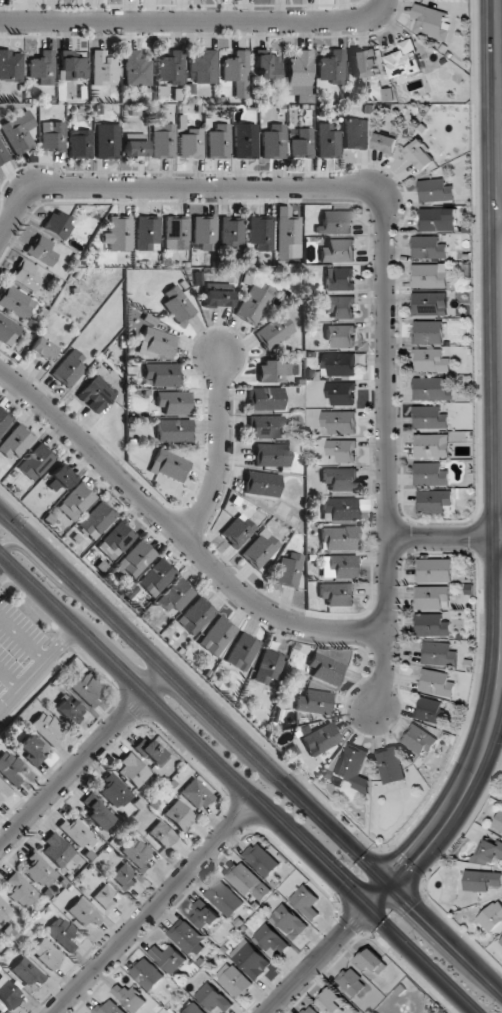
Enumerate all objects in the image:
road: (382, 7)
road: (189, 17)
building: (430, 22)
building: (404, 60)
building: (363, 64)
building: (10, 65)
building: (72, 65)
building: (203, 66)
building: (42, 67)
building: (332, 67)
building: (103, 68)
building: (171, 68)
building: (267, 68)
building: (136, 69)
building: (237, 72)
building: (300, 76)
building: (18, 132)
building: (356, 134)
building: (52, 136)
building: (163, 140)
building: (107, 141)
building: (245, 141)
building: (327, 141)
building: (385, 141)
building: (218, 142)
building: (274, 142)
building: (80, 143)
building: (301, 143)
building: (191, 144)
building: (134, 145)
building: (2, 154)
building: (420, 155)
road: (498, 189)
building: (434, 190)
road: (387, 210)
road: (500, 218)
building: (437, 219)
building: (333, 222)
building: (57, 224)
building: (231, 231)
building: (204, 232)
building: (260, 232)
building: (118, 233)
building: (147, 233)
building: (175, 234)
building: (288, 234)
building: (427, 247)
building: (41, 250)
building: (337, 251)
building: (25, 274)
building: (429, 275)
building: (339, 279)
building: (217, 294)
building: (16, 302)
building: (429, 303)
building: (177, 304)
building: (252, 305)
building: (339, 306)
building: (8, 330)
building: (274, 332)
building: (428, 332)
building: (341, 335)
building: (156, 343)
building: (41, 349)
building: (431, 361)
building: (337, 364)
building: (69, 368)
building: (273, 370)
building: (162, 374)
building: (432, 388)
building: (340, 393)
building: (96, 394)
building: (265, 398)
building: (173, 402)
building: (429, 417)
building: (4, 419)
building: (339, 422)
building: (266, 426)
building: (173, 430)
building: (15, 443)
building: (431, 445)
building: (341, 449)
building: (271, 454)
road: (222, 455)
building: (36, 462)
building: (168, 465)
building: (430, 474)
building: (59, 478)
building: (339, 479)
building: (261, 483)
building: (76, 501)
building: (434, 501)
building: (339, 509)
building: (96, 520)
building: (237, 530)
road: (180, 536)
building: (117, 537)
building: (339, 538)
road: (447, 539)
building: (260, 549)
building: (134, 559)
building: (338, 566)
building: (289, 570)
building: (434, 570)
road: (5, 571)
road: (51, 577)
building: (156, 577)
building: (337, 593)
building: (432, 597)
building: (195, 616)
building: (432, 625)
building: (217, 636)
road: (22, 639)
building: (242, 651)
building: (439, 654)
building: (269, 666)
road: (38, 667)
building: (325, 669)
road: (386, 671)
road: (9, 680)
building: (436, 683)
building: (83, 688)
building: (314, 702)
building: (68, 709)
building: (428, 710)
building: (45, 728)
road: (185, 731)
building: (320, 739)
building: (418, 740)
building: (29, 749)
building: (150, 751)
road: (251, 753)
road: (83, 758)
building: (390, 765)
building: (9, 767)
building: (353, 767)
building: (132, 770)
building: (0, 783)
building: (113, 791)
building: (195, 794)
road: (461, 795)
building: (0, 799)
building: (96, 812)
building: (178, 815)
building: (498, 821)
building: (75, 831)
building: (161, 834)
building: (56, 850)
building: (488, 852)
building: (137, 854)
building: (261, 859)
traffic signals: (410, 860)
building: (39, 871)
building: (124, 876)
building: (241, 878)
building: (482, 880)
traffic signals: (338, 882)
building: (22, 891)
building: (262, 892)
building: (105, 898)
building: (224, 898)
building: (306, 902)
building: (3, 908)
road: (154, 908)
traffic signals: (413, 909)
building: (83, 912)
building: (203, 915)
building: (492, 916)
building: (287, 920)
traffic signals: (348, 931)
building: (61, 933)
building: (185, 936)
building: (271, 939)
building: (501, 941)
building: (46, 953)
building: (167, 958)
building: (250, 959)
building: (370, 959)
road: (318, 961)
road: (421, 961)
building: (27, 972)
building: (147, 974)
building: (235, 981)
building: (351, 982)
building: (9, 993)
building: (130, 997)
building: (213, 998)
building: (330, 1001)
building: (109, 1007)
building: (193, 1009)
building: (309, 1010)
building: (0, 1012)

